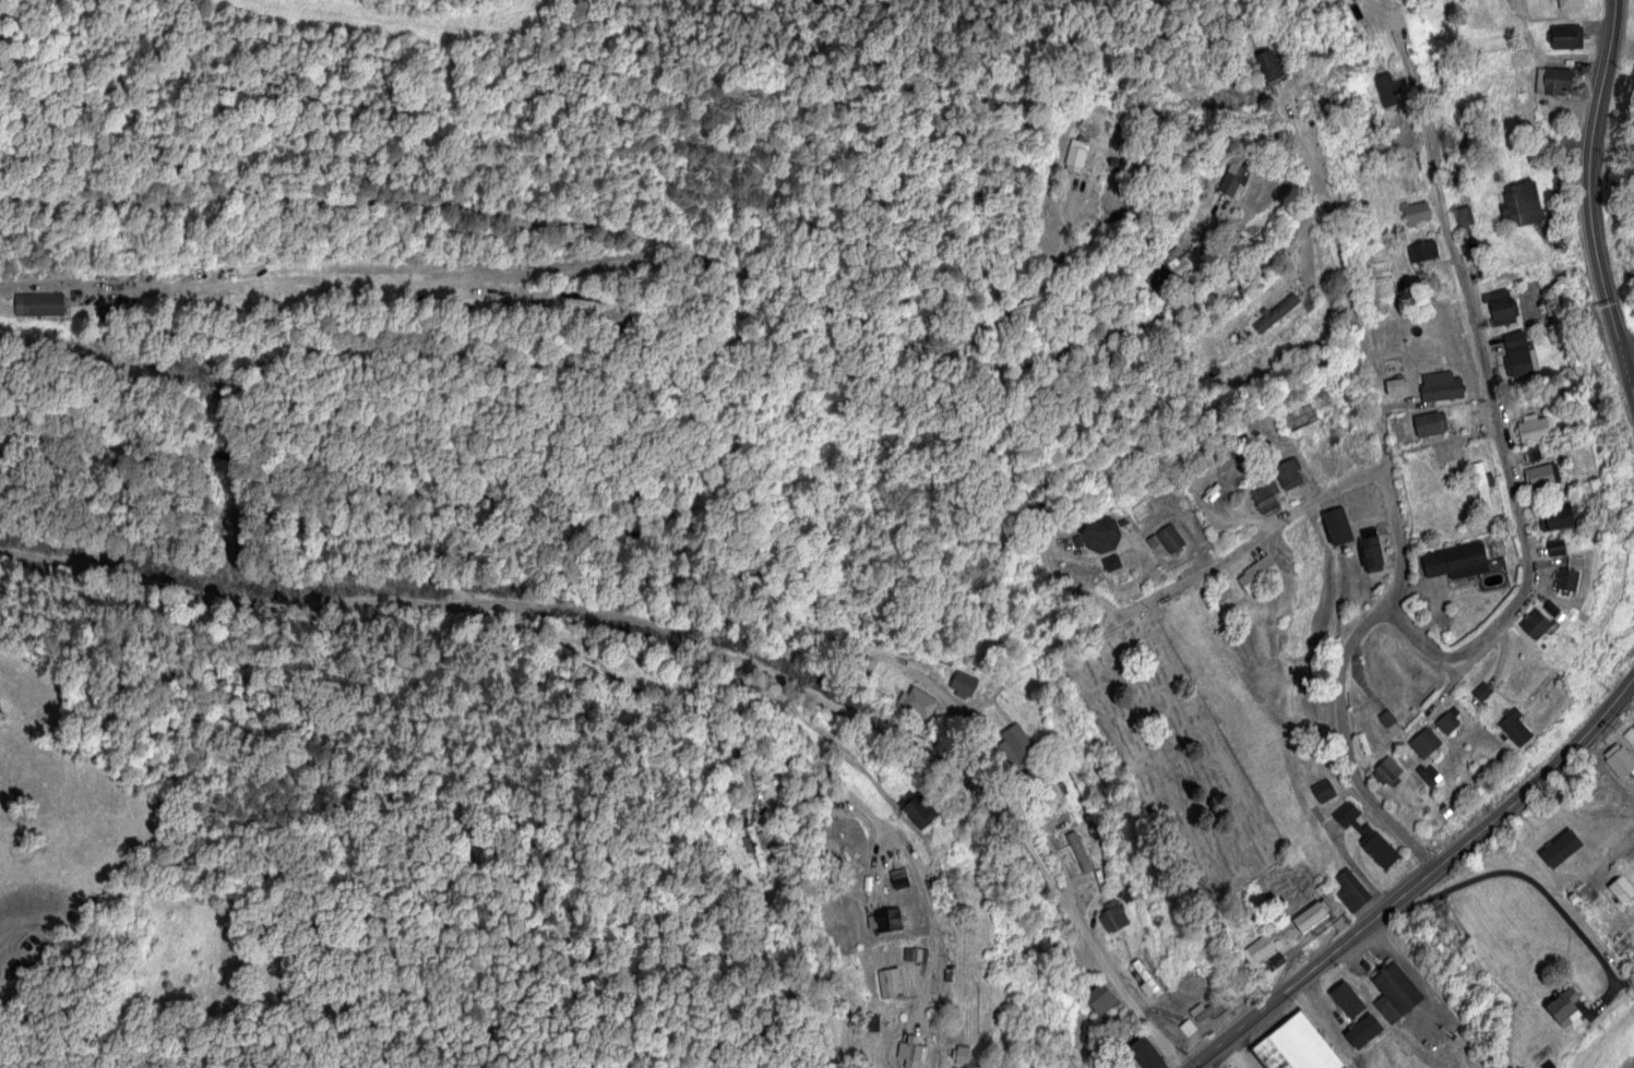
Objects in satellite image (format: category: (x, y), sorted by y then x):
building: (1569, 3)
road: (1386, 17)
building: (1565, 36)
building: (1267, 64)
building: (1553, 80)
building: (1386, 88)
building: (1075, 155)
building: (1233, 178)
road: (1594, 191)
building: (1520, 203)
building: (1415, 211)
building: (1464, 220)
building: (1421, 251)
road: (1050, 263)
building: (1161, 267)
building: (38, 303)
building: (1500, 305)
road: (994, 311)
building: (1276, 312)
building: (1518, 355)
road: (1632, 363)
building: (1394, 385)
building: (1440, 385)
road: (1495, 399)
building: (1429, 422)
building: (1535, 427)
building: (1531, 452)
building: (1288, 472)
building: (1541, 475)
building: (1480, 488)
building: (1263, 497)
road: (1393, 511)
building: (1559, 516)
building: (1336, 525)
building: (1100, 531)
building: (1166, 538)
road: (1248, 547)
building: (1554, 547)
building: (1370, 549)
building: (1455, 560)
building: (1111, 562)
building: (1256, 572)
building: (1565, 578)
road: (540, 608)
building: (1551, 608)
building: (1535, 623)
building: (868, 663)
building: (962, 683)
building: (1481, 689)
building: (917, 701)
building: (1386, 717)
building: (1448, 720)
building: (1514, 725)
building: (1423, 741)
building: (1015, 742)
building: (1619, 759)
park: (1182, 760)
building: (1387, 770)
building: (1429, 773)
building: (1323, 790)
building: (1049, 795)
building: (917, 807)
road: (1028, 807)
road: (882, 827)
building: (1365, 833)
building: (1075, 842)
building: (754, 843)
road: (1611, 851)
building: (1593, 852)
building: (1559, 860)
road: (1416, 876)
building: (898, 877)
building: (1621, 888)
building: (1350, 889)
building: (1112, 915)
building: (1309, 916)
building: (887, 919)
building: (1260, 948)
building: (1633, 962)
building: (1145, 979)
building: (890, 981)
building: (1394, 991)
building: (1100, 998)
building: (1350, 1004)
building: (1563, 1006)
building: (1204, 1009)
building: (1186, 1027)
building: (1359, 1037)
building: (1297, 1044)
building: (911, 1051)
building: (1146, 1053)
building: (962, 1054)

